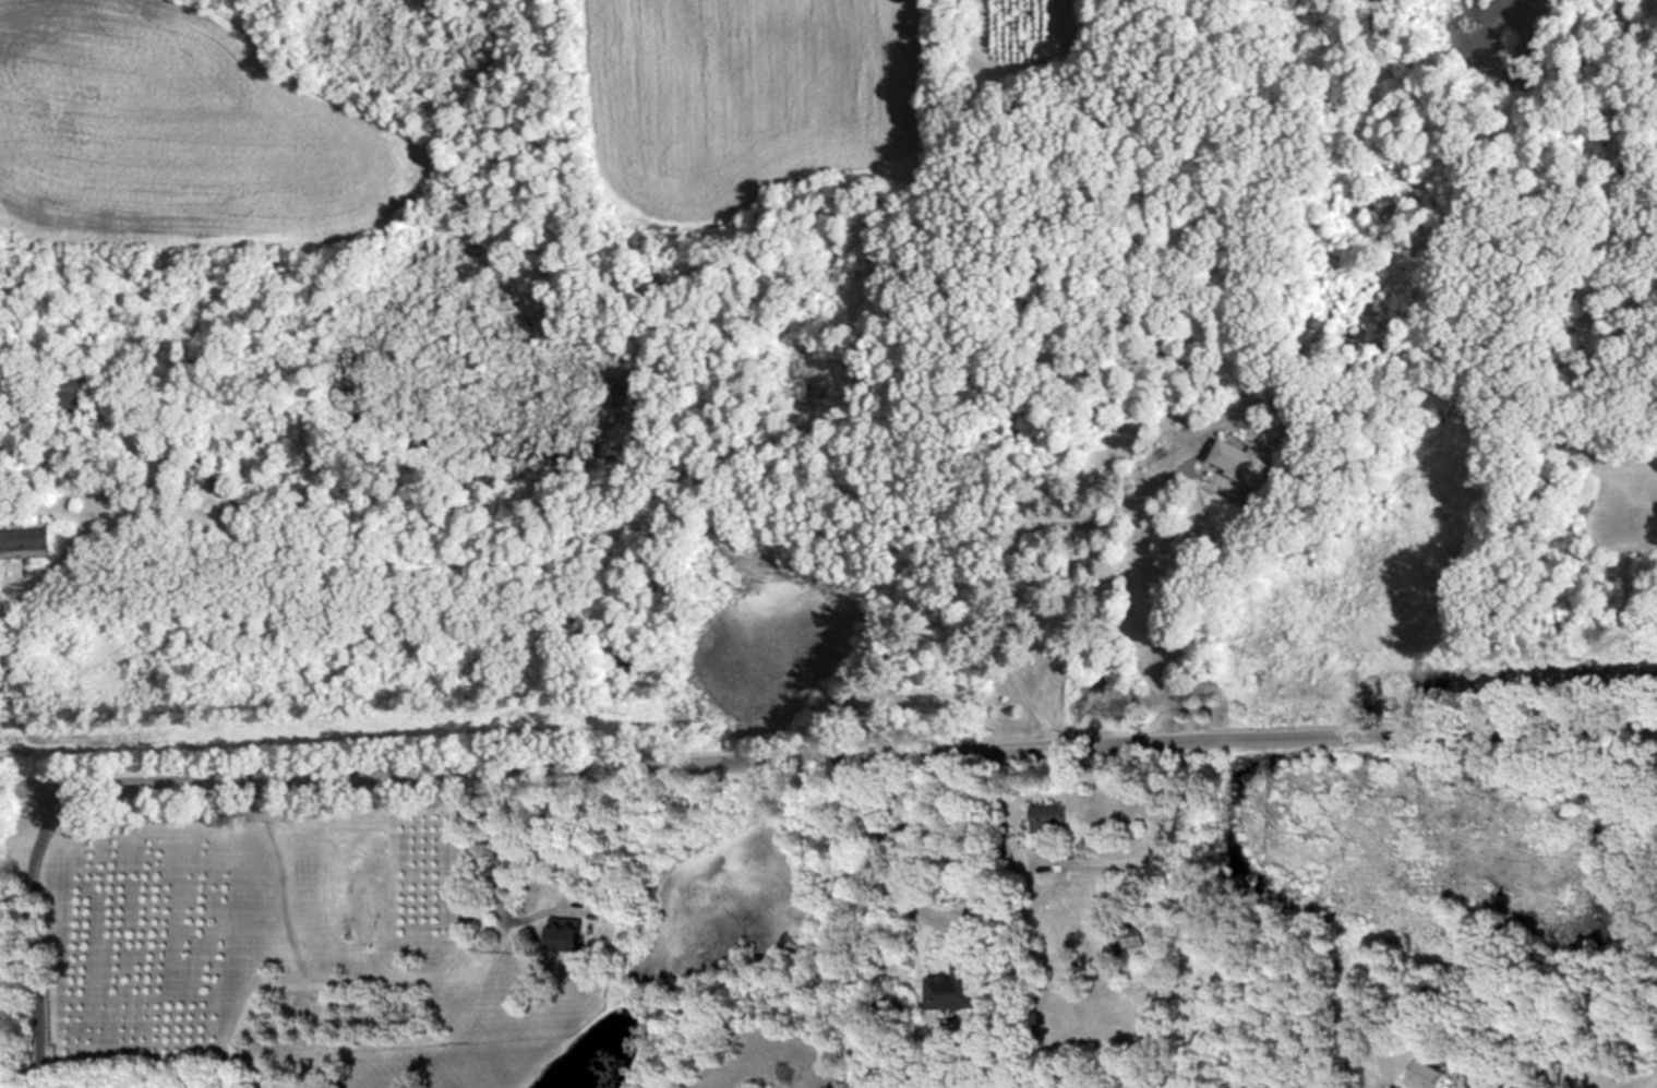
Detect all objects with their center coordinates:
building: (68, 388)
building: (1244, 461)
road: (1035, 557)
road: (46, 576)
building: (14, 601)
road: (828, 742)
building: (1046, 817)
road: (1160, 822)
road: (901, 845)
road: (494, 869)
road: (33, 932)
building: (1129, 935)
building: (959, 983)
building: (1427, 1074)
road: (1650, 1083)

